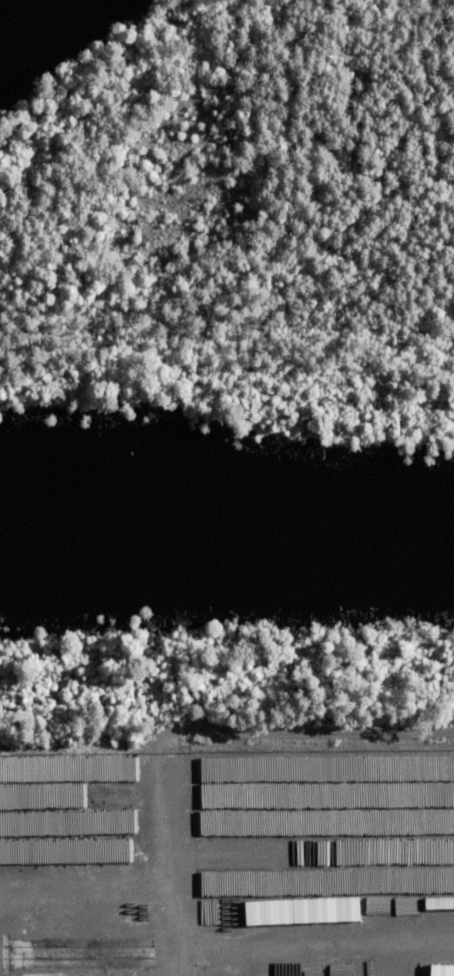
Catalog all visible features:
road: (298, 738)
road: (164, 865)
building: (436, 902)
building: (68, 951)
building: (438, 970)

